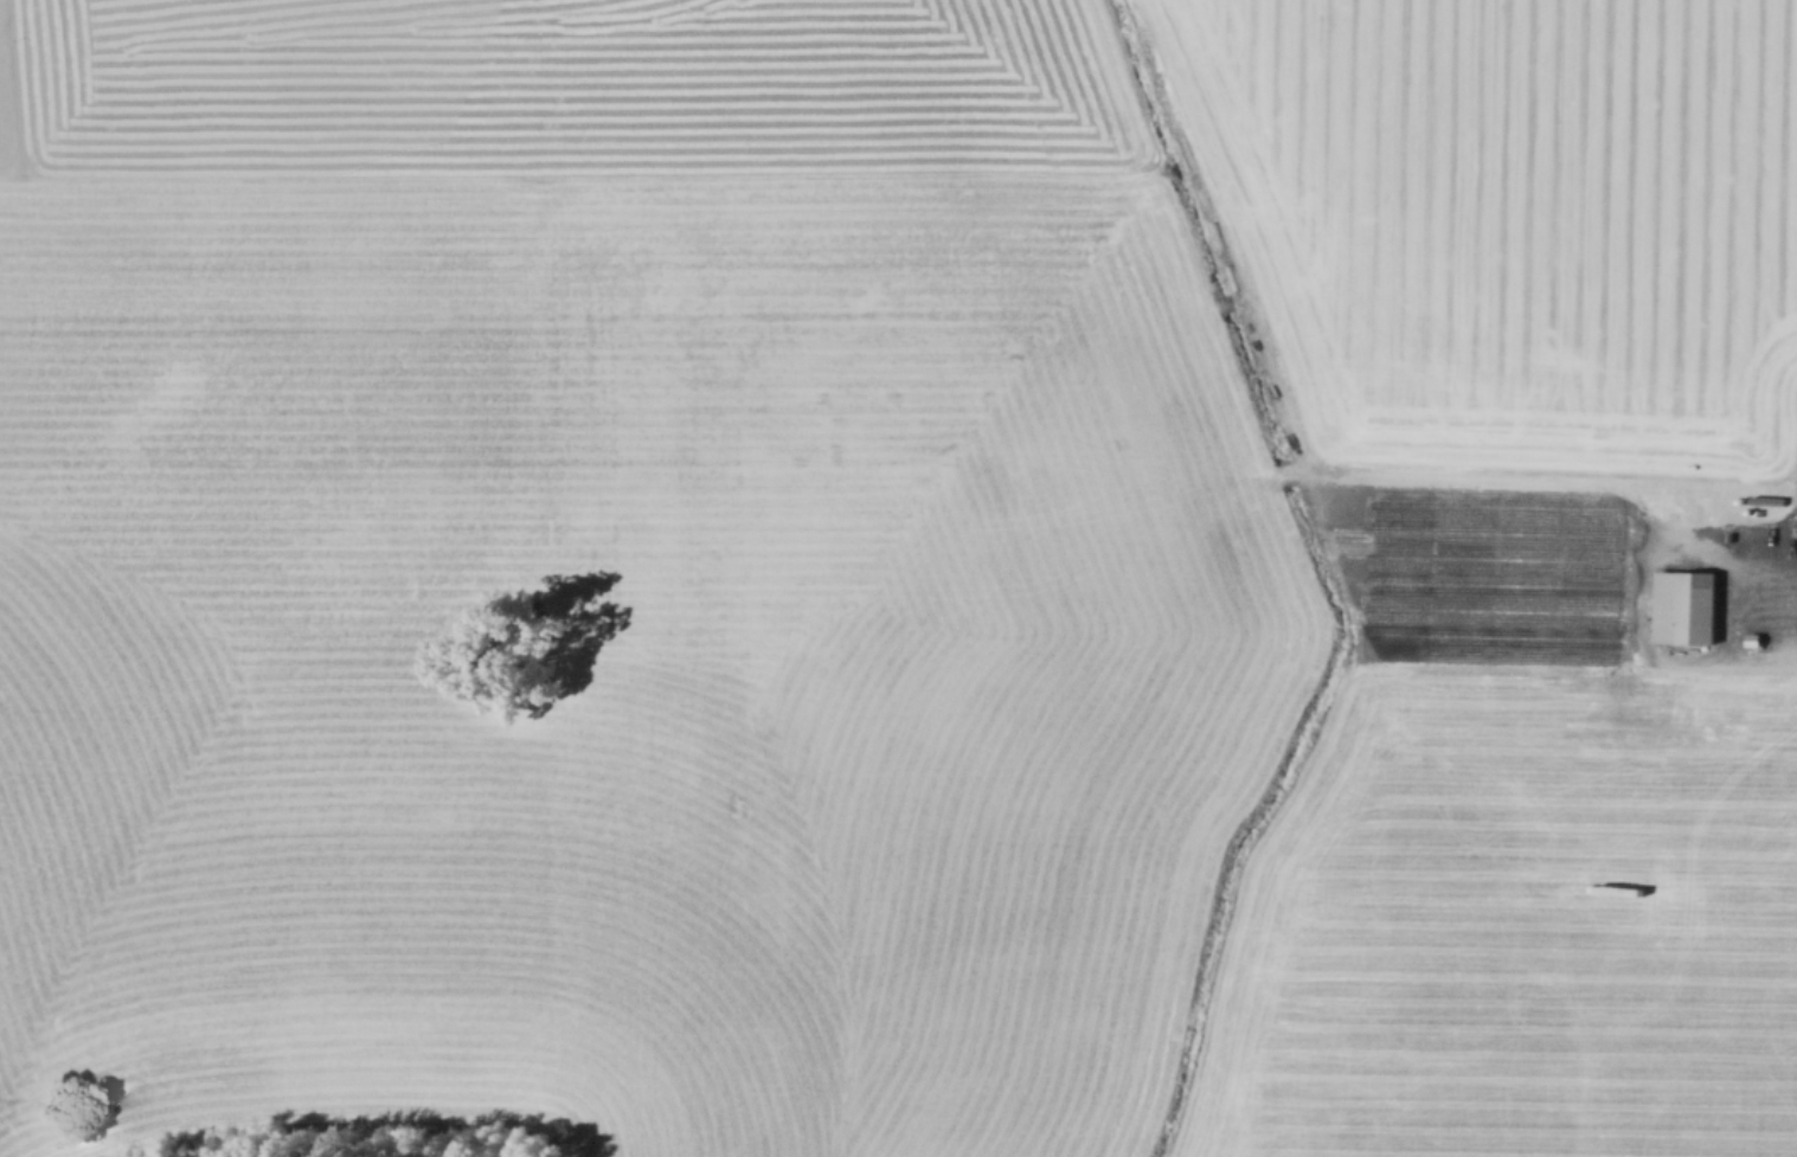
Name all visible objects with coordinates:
road: (538, 394)
road: (1335, 452)
road: (1681, 468)
crop: (898, 578)
building: (1687, 608)
building: (1756, 642)

